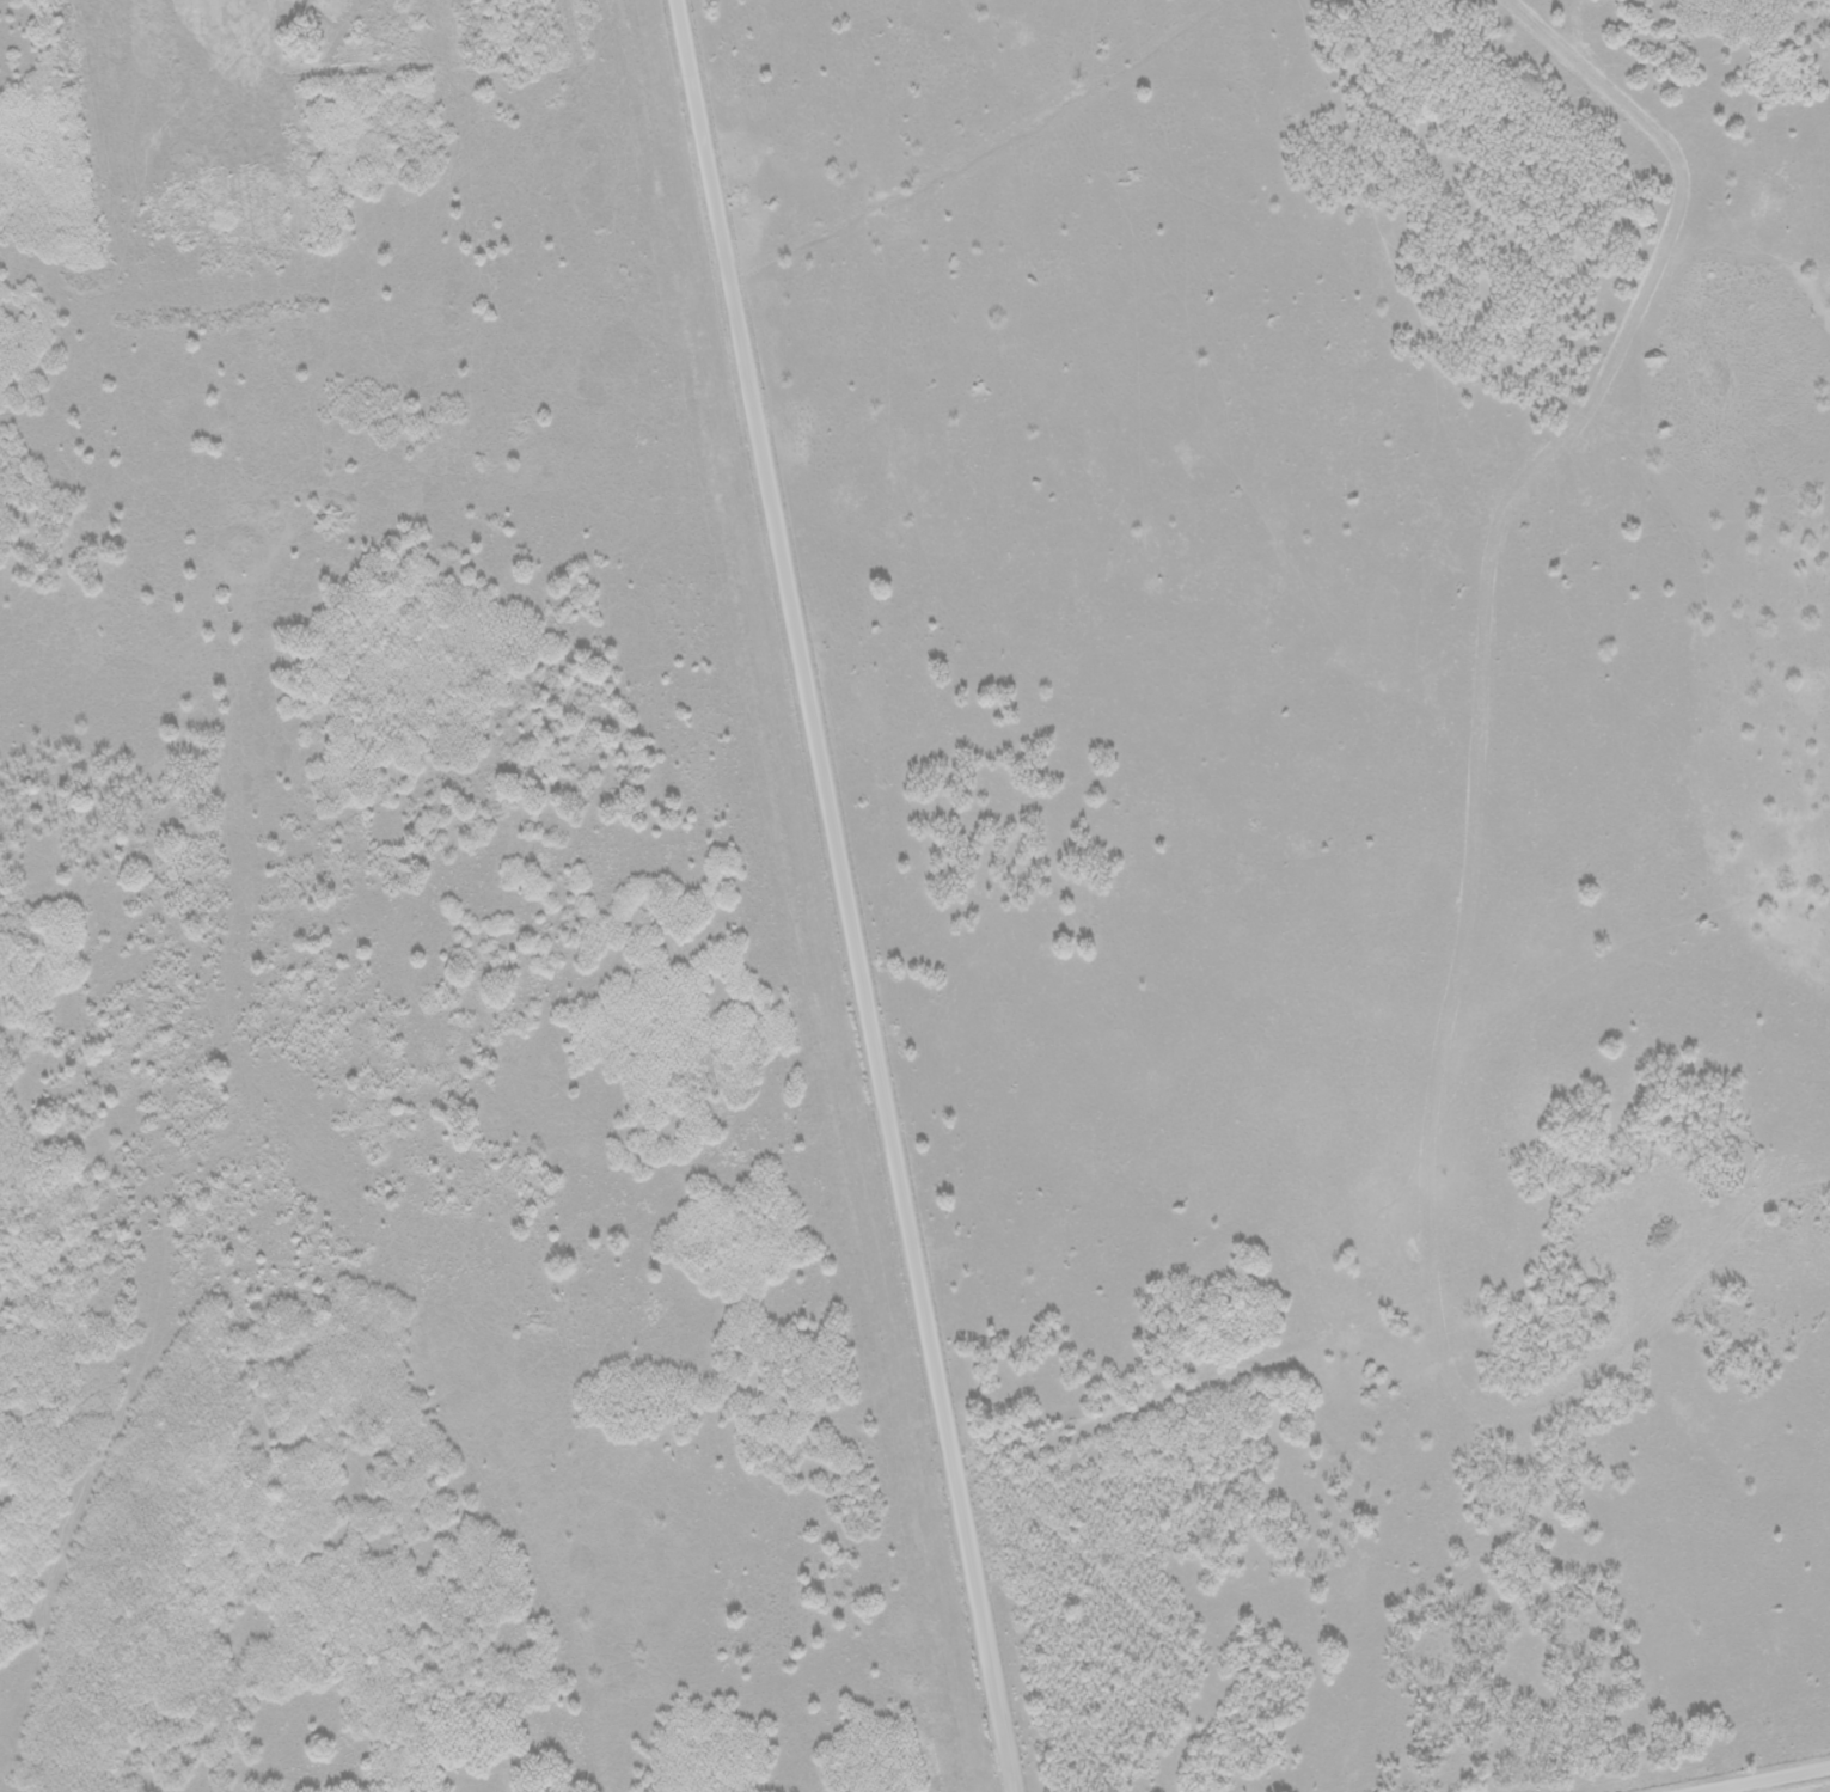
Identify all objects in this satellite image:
road: (850, 895)
road: (1756, 1778)

